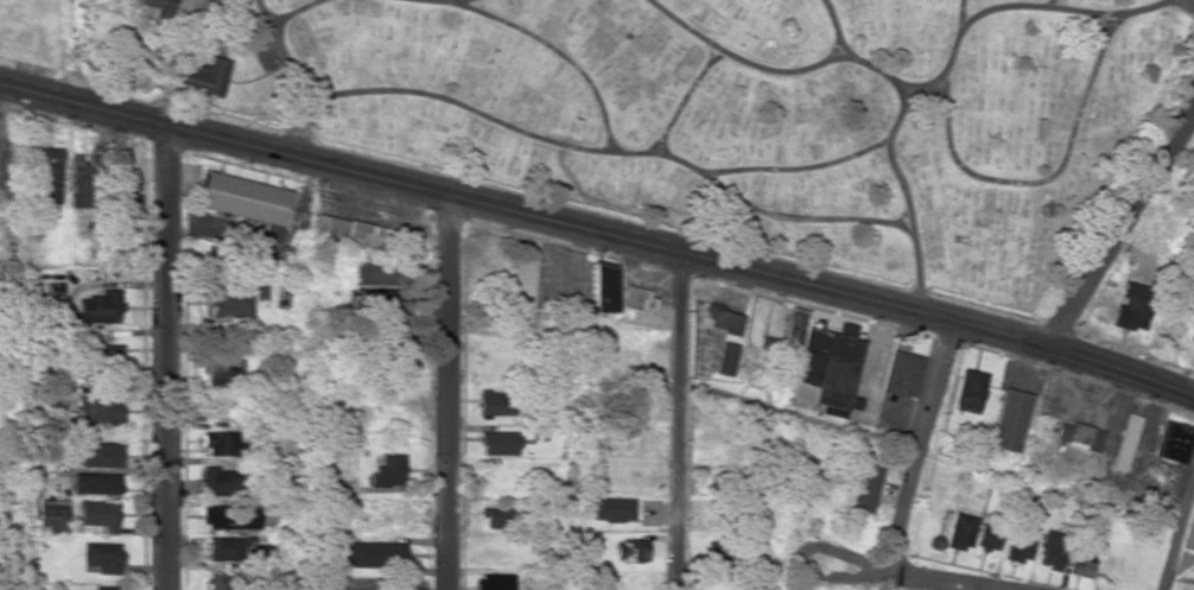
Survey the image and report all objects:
road: (458, 1)
building: (154, 4)
road: (1050, 4)
road: (1190, 4)
road: (1143, 8)
road: (296, 13)
road: (961, 15)
road: (548, 46)
road: (767, 69)
building: (205, 75)
road: (293, 78)
road: (889, 80)
road: (684, 101)
park: (715, 108)
road: (900, 115)
road: (503, 123)
road: (951, 153)
road: (795, 170)
building: (50, 172)
building: (81, 184)
building: (129, 191)
building: (248, 202)
road: (800, 220)
road: (910, 227)
road: (1123, 229)
building: (347, 230)
road: (599, 233)
building: (361, 275)
building: (395, 275)
building: (604, 286)
building: (636, 298)
building: (229, 300)
building: (1128, 304)
building: (100, 306)
building: (394, 313)
building: (1190, 337)
building: (108, 354)
building: (725, 357)
road: (165, 360)
building: (821, 361)
building: (224, 369)
building: (400, 372)
building: (902, 373)
building: (968, 391)
road: (447, 394)
building: (495, 402)
building: (100, 411)
building: (1009, 419)
road: (680, 420)
building: (1078, 434)
building: (1173, 440)
building: (220, 442)
building: (498, 442)
building: (1123, 442)
road: (921, 448)
building: (97, 453)
building: (388, 470)
building: (94, 482)
building: (220, 482)
building: (865, 488)
building: (612, 508)
building: (99, 513)
building: (52, 514)
building: (495, 514)
building: (230, 516)
building: (959, 531)
road: (1179, 532)
building: (987, 537)
building: (934, 541)
building: (1020, 543)
building: (227, 547)
building: (630, 550)
building: (1052, 550)
building: (376, 553)
building: (103, 556)
building: (1084, 559)
road: (926, 576)
building: (224, 581)
building: (494, 581)
building: (106, 588)

